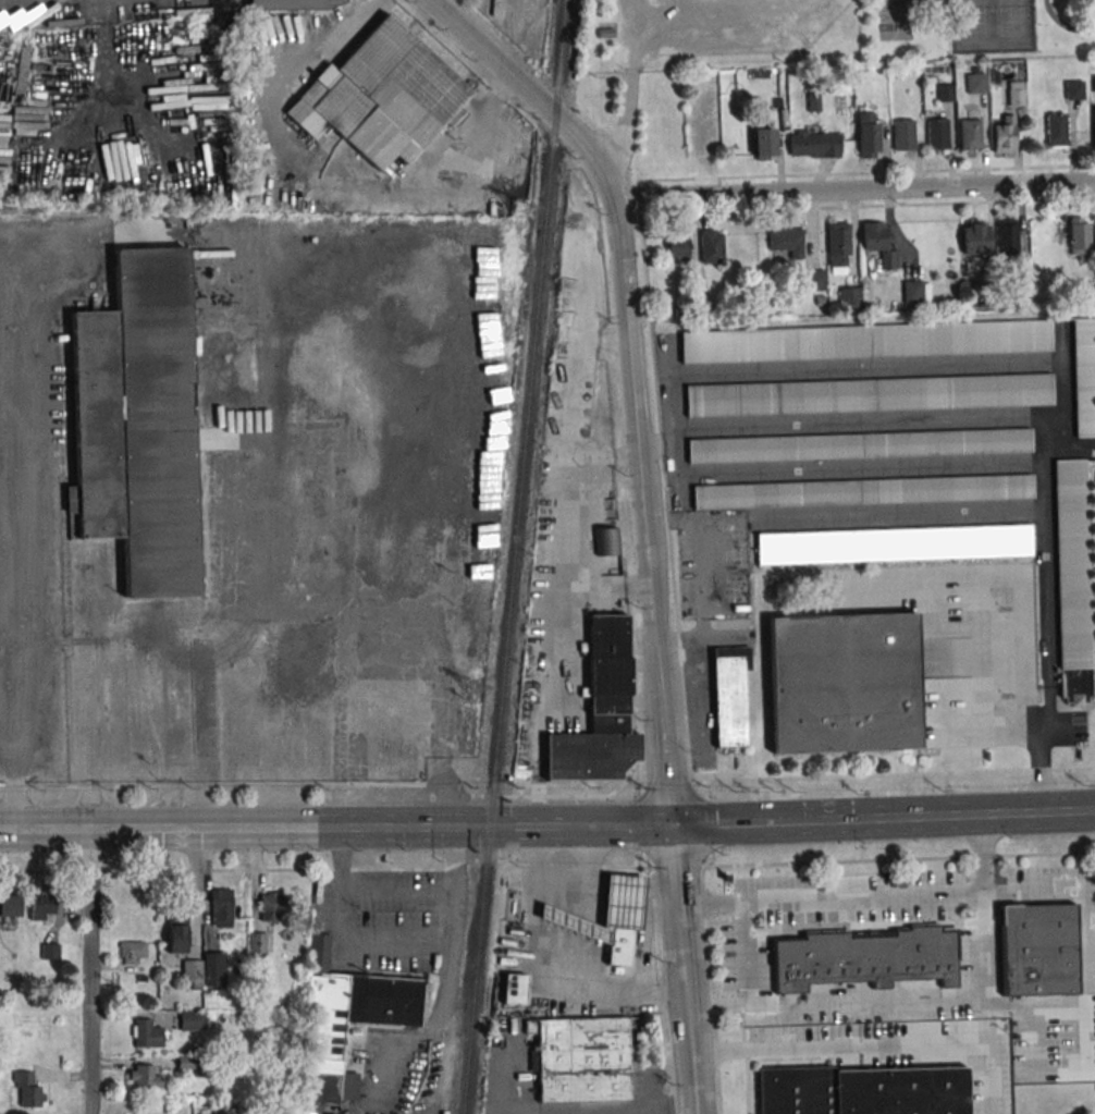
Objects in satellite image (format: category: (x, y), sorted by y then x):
building: (294, 3)
park: (895, 20)
road: (1065, 24)
park: (992, 26)
parking lot: (735, 29)
building: (604, 33)
park: (824, 33)
building: (860, 72)
building: (975, 82)
building: (1094, 83)
road: (627, 87)
building: (1073, 88)
road: (530, 91)
building: (945, 91)
building: (1011, 91)
building: (380, 96)
building: (813, 101)
building: (1093, 125)
building: (1056, 130)
building: (937, 133)
building: (969, 133)
building: (866, 134)
building: (1004, 134)
building: (902, 135)
building: (763, 143)
building: (813, 144)
road: (331, 162)
road: (866, 173)
road: (853, 187)
road: (868, 205)
power tower: (518, 207)
building: (1006, 237)
building: (975, 238)
building: (1079, 238)
building: (785, 240)
building: (877, 243)
building: (677, 244)
building: (837, 244)
building: (710, 246)
building: (814, 279)
building: (1019, 285)
building: (1073, 291)
building: (914, 292)
building: (848, 296)
building: (985, 297)
building: (820, 301)
building: (701, 308)
building: (681, 311)
building: (865, 341)
road: (1038, 358)
building: (1084, 375)
building: (868, 394)
building: (136, 421)
road: (858, 428)
building: (860, 444)
road: (603, 458)
road: (859, 465)
road: (663, 480)
building: (863, 491)
road: (639, 511)
road: (898, 518)
building: (606, 541)
railway: (521, 558)
road: (564, 564)
building: (1072, 580)
road: (604, 588)
road: (1019, 664)
building: (842, 683)
power tower: (473, 688)
building: (728, 701)
building: (600, 711)
road: (13, 756)
road: (128, 764)
road: (780, 779)
road: (235, 785)
road: (939, 816)
road: (726, 823)
traffic signals: (396, 825)
road: (537, 825)
road: (561, 825)
road: (626, 825)
traffic signals: (669, 825)
road: (267, 827)
road: (196, 891)
road: (598, 893)
road: (871, 898)
building: (10, 905)
building: (41, 905)
road: (677, 906)
building: (220, 907)
building: (270, 907)
building: (606, 907)
building: (176, 934)
road: (644, 938)
road: (393, 942)
building: (257, 943)
building: (620, 946)
building: (1038, 948)
building: (49, 952)
building: (133, 952)
road: (748, 954)
building: (868, 958)
building: (213, 968)
road: (89, 971)
building: (192, 974)
road: (531, 981)
building: (513, 988)
road: (932, 997)
building: (192, 1019)
building: (346, 1019)
building: (146, 1032)
road: (871, 1048)
road: (689, 1051)
building: (586, 1056)
building: (187, 1063)
building: (148, 1076)
building: (28, 1089)
building: (861, 1091)
building: (220, 1109)
road: (602, 1109)

